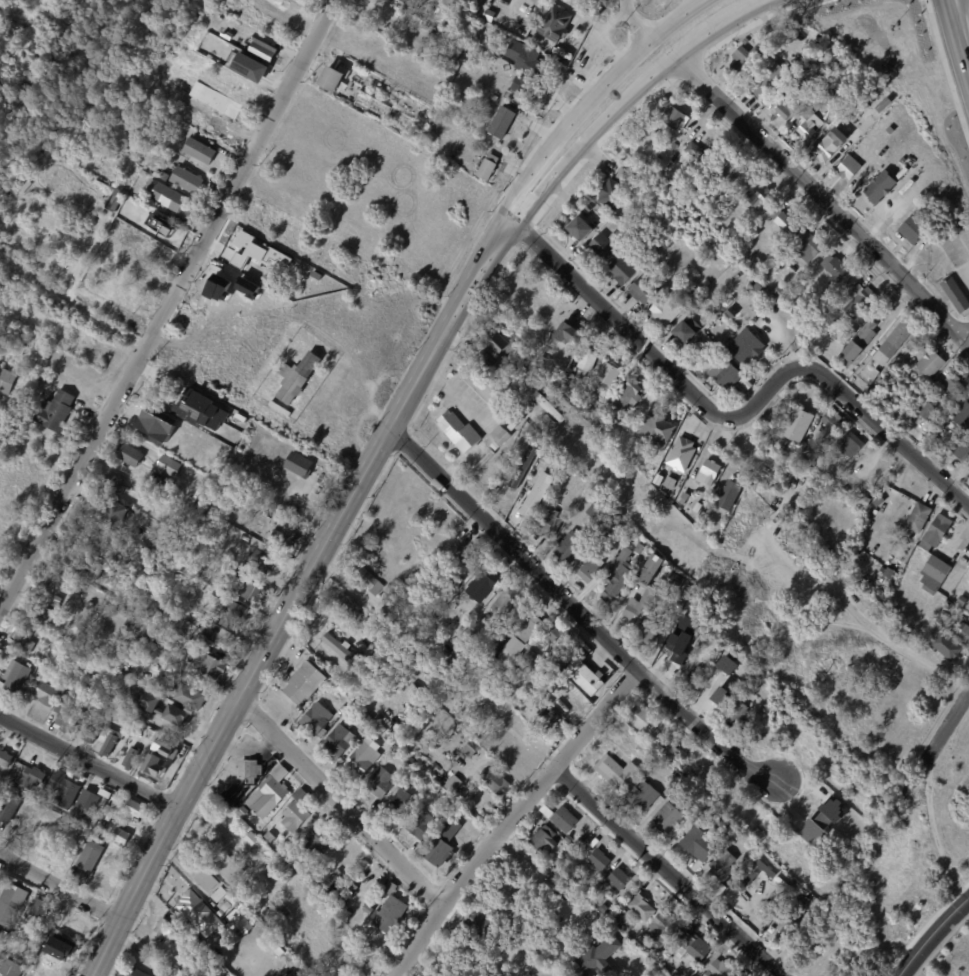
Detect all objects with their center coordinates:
building: (413, 3)
road: (744, 10)
road: (949, 10)
road: (955, 10)
building: (445, 11)
road: (676, 16)
road: (636, 18)
building: (556, 23)
building: (447, 30)
building: (759, 32)
road: (698, 41)
building: (263, 49)
road: (961, 50)
building: (452, 51)
building: (747, 60)
park: (135, 63)
building: (524, 65)
road: (947, 66)
building: (250, 67)
building: (331, 78)
building: (771, 81)
road: (577, 95)
building: (495, 98)
building: (787, 107)
building: (461, 111)
building: (851, 113)
building: (674, 117)
road: (572, 119)
building: (812, 120)
building: (502, 122)
building: (891, 130)
road: (594, 140)
building: (832, 144)
building: (200, 151)
building: (694, 153)
building: (849, 167)
building: (487, 169)
building: (635, 169)
building: (731, 171)
building: (144, 173)
building: (624, 174)
building: (186, 180)
building: (881, 187)
building: (693, 191)
building: (612, 194)
building: (165, 195)
building: (758, 198)
building: (115, 199)
road: (822, 199)
building: (95, 207)
building: (590, 207)
building: (785, 221)
building: (161, 225)
building: (715, 227)
building: (579, 228)
building: (914, 231)
building: (605, 246)
building: (808, 247)
road: (82, 259)
building: (758, 265)
building: (835, 269)
building: (623, 270)
building: (737, 286)
building: (644, 290)
building: (686, 291)
building: (781, 293)
building: (862, 294)
building: (957, 294)
road: (70, 305)
road: (168, 305)
building: (666, 311)
building: (732, 313)
road: (616, 318)
building: (688, 331)
building: (567, 334)
building: (848, 335)
road: (966, 335)
building: (860, 343)
building: (893, 344)
building: (500, 346)
building: (747, 347)
building: (526, 354)
building: (927, 359)
building: (543, 360)
building: (588, 360)
building: (487, 361)
building: (528, 374)
building: (610, 374)
building: (726, 374)
building: (42, 376)
building: (297, 376)
building: (6, 379)
building: (747, 384)
building: (710, 386)
building: (953, 386)
building: (595, 391)
building: (611, 397)
building: (631, 397)
road: (849, 397)
building: (549, 408)
building: (55, 409)
building: (201, 410)
building: (930, 411)
building: (960, 411)
building: (968, 419)
building: (516, 422)
building: (797, 425)
building: (832, 425)
building: (657, 429)
building: (459, 432)
building: (942, 432)
building: (501, 435)
building: (172, 440)
building: (929, 441)
building: (571, 444)
building: (852, 445)
building: (948, 446)
building: (822, 449)
building: (789, 451)
building: (962, 451)
building: (130, 454)
building: (683, 454)
building: (298, 463)
building: (168, 465)
building: (522, 466)
building: (710, 473)
building: (659, 479)
building: (317, 480)
building: (111, 481)
building: (671, 482)
building: (208, 486)
building: (776, 486)
building: (537, 495)
building: (730, 495)
building: (685, 498)
building: (864, 500)
building: (698, 507)
building: (799, 508)
building: (594, 511)
building: (113, 512)
building: (919, 518)
building: (548, 524)
building: (937, 533)
building: (285, 534)
road: (958, 538)
building: (571, 548)
building: (640, 548)
building: (468, 555)
building: (262, 560)
building: (638, 560)
building: (80, 561)
building: (883, 570)
building: (590, 572)
building: (890, 573)
building: (116, 574)
building: (233, 574)
building: (935, 575)
building: (619, 576)
building: (362, 577)
building: (72, 579)
building: (456, 581)
building: (484, 581)
building: (675, 581)
building: (693, 587)
building: (252, 589)
building: (217, 592)
road: (297, 593)
building: (651, 594)
building: (223, 598)
building: (505, 601)
building: (962, 601)
building: (349, 604)
building: (949, 606)
building: (968, 608)
road: (578, 610)
building: (47, 612)
building: (235, 613)
building: (529, 625)
building: (654, 627)
building: (391, 628)
building: (213, 632)
building: (964, 632)
building: (48, 637)
building: (559, 638)
building: (23, 639)
building: (366, 641)
building: (458, 644)
building: (514, 645)
building: (948, 647)
building: (68, 649)
building: (342, 650)
building: (728, 652)
building: (675, 657)
building: (128, 659)
building: (529, 661)
building: (728, 664)
building: (210, 665)
building: (417, 665)
building: (451, 669)
building: (514, 671)
building: (586, 675)
building: (16, 676)
building: (532, 677)
building: (449, 680)
building: (696, 680)
building: (305, 682)
building: (415, 691)
building: (479, 691)
building: (47, 693)
building: (533, 693)
building: (763, 694)
building: (190, 696)
building: (722, 696)
building: (577, 704)
building: (71, 708)
building: (148, 708)
building: (462, 711)
building: (546, 714)
building: (737, 714)
building: (96, 716)
building: (316, 718)
building: (364, 718)
building: (644, 719)
building: (128, 724)
building: (91, 731)
building: (390, 739)
building: (340, 740)
building: (106, 742)
road: (939, 745)
building: (471, 749)
building: (669, 750)
building: (162, 751)
building: (649, 753)
building: (131, 757)
building: (5, 759)
building: (362, 759)
building: (460, 759)
road: (90, 761)
building: (250, 769)
building: (617, 771)
building: (32, 777)
building: (496, 780)
building: (354, 782)
building: (380, 782)
building: (75, 791)
building: (693, 794)
building: (270, 795)
building: (644, 796)
road: (341, 800)
building: (400, 803)
building: (85, 804)
building: (685, 806)
building: (9, 807)
building: (243, 810)
building: (134, 811)
building: (547, 811)
building: (443, 813)
building: (295, 815)
building: (669, 816)
building: (565, 818)
building: (824, 818)
road: (512, 819)
building: (422, 825)
building: (757, 834)
building: (122, 836)
building: (544, 837)
building: (319, 840)
building: (250, 841)
building: (443, 843)
building: (701, 843)
building: (579, 844)
building: (90, 855)
building: (600, 859)
building: (564, 860)
building: (723, 865)
building: (231, 870)
building: (797, 871)
road: (669, 872)
building: (289, 877)
building: (306, 877)
building: (205, 878)
building: (619, 878)
road: (542, 883)
building: (317, 886)
road: (60, 887)
building: (354, 887)
building: (719, 887)
building: (753, 888)
building: (219, 894)
building: (244, 894)
building: (231, 899)
building: (12, 903)
building: (801, 903)
building: (339, 905)
building: (226, 906)
building: (369, 906)
building: (642, 907)
building: (38, 908)
building: (352, 909)
building: (606, 909)
building: (278, 910)
building: (221, 912)
building: (200, 913)
building: (364, 914)
building: (390, 914)
building: (50, 915)
building: (619, 918)
building: (789, 924)
building: (355, 925)
building: (483, 926)
building: (627, 926)
building: (167, 928)
building: (664, 930)
building: (369, 933)
building: (29, 934)
road: (932, 934)
building: (695, 946)
building: (626, 955)
park: (950, 955)
building: (597, 957)
building: (42, 959)
building: (676, 962)
building: (11, 967)
building: (158, 969)
building: (721, 969)
building: (137, 972)
building: (301, 974)
building: (444, 975)

